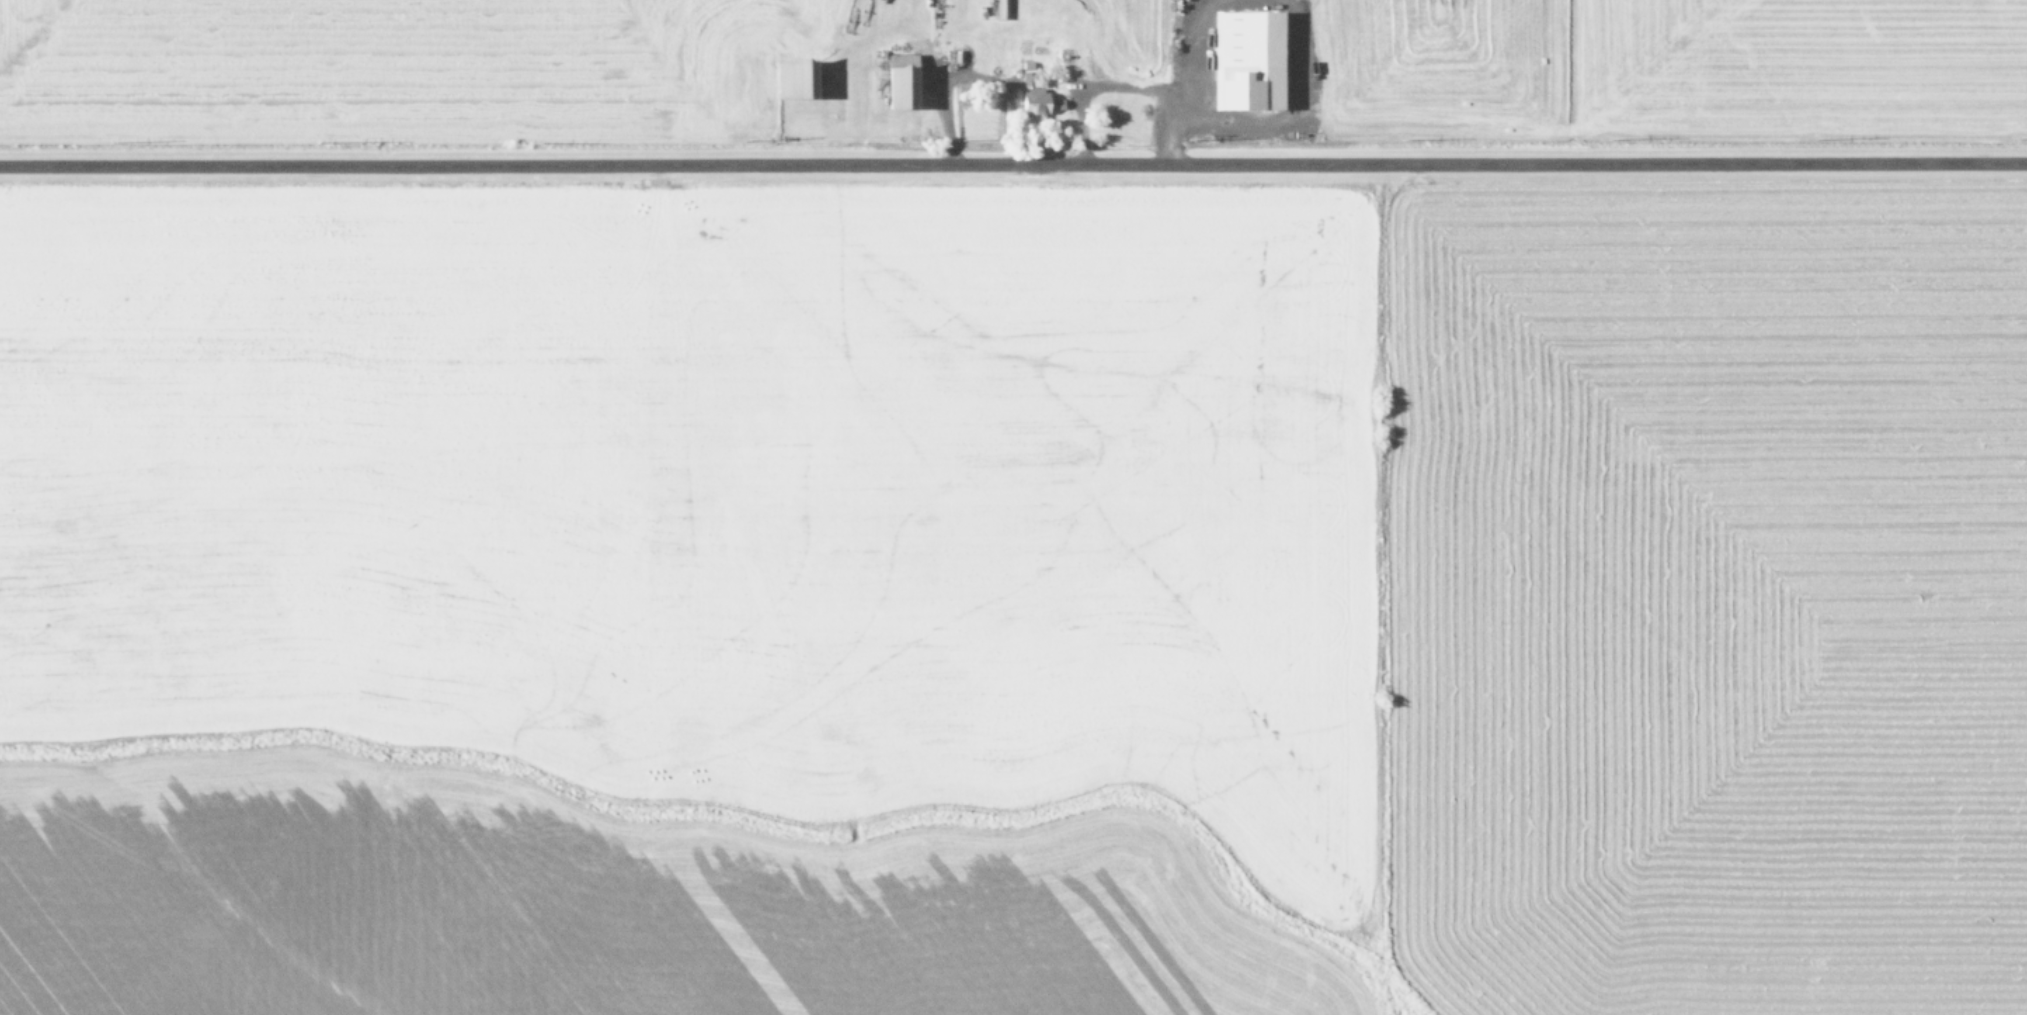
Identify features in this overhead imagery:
building: (996, 9)
building: (1233, 60)
building: (891, 87)
building: (1027, 102)
road: (1013, 143)
crop: (1013, 507)

